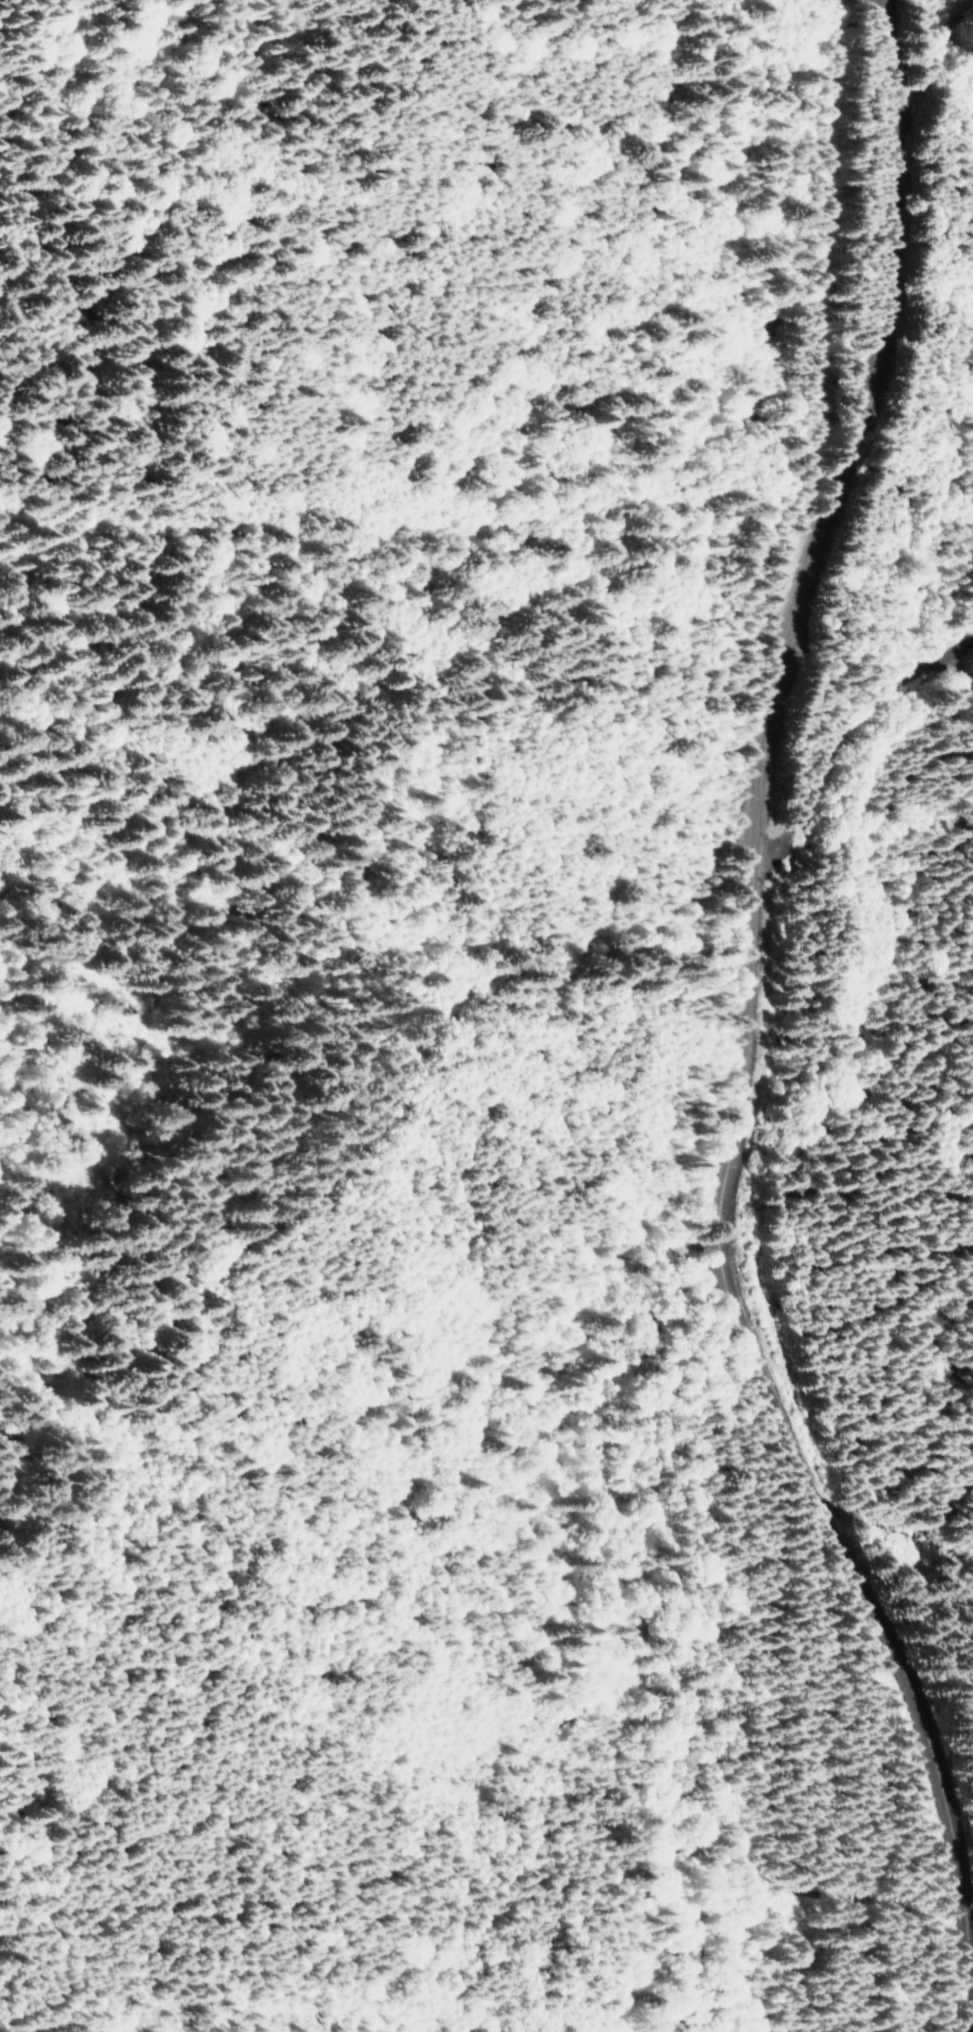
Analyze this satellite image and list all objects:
road: (436, 505)
road: (894, 765)
road: (760, 979)
road: (934, 1565)
road: (529, 1650)

